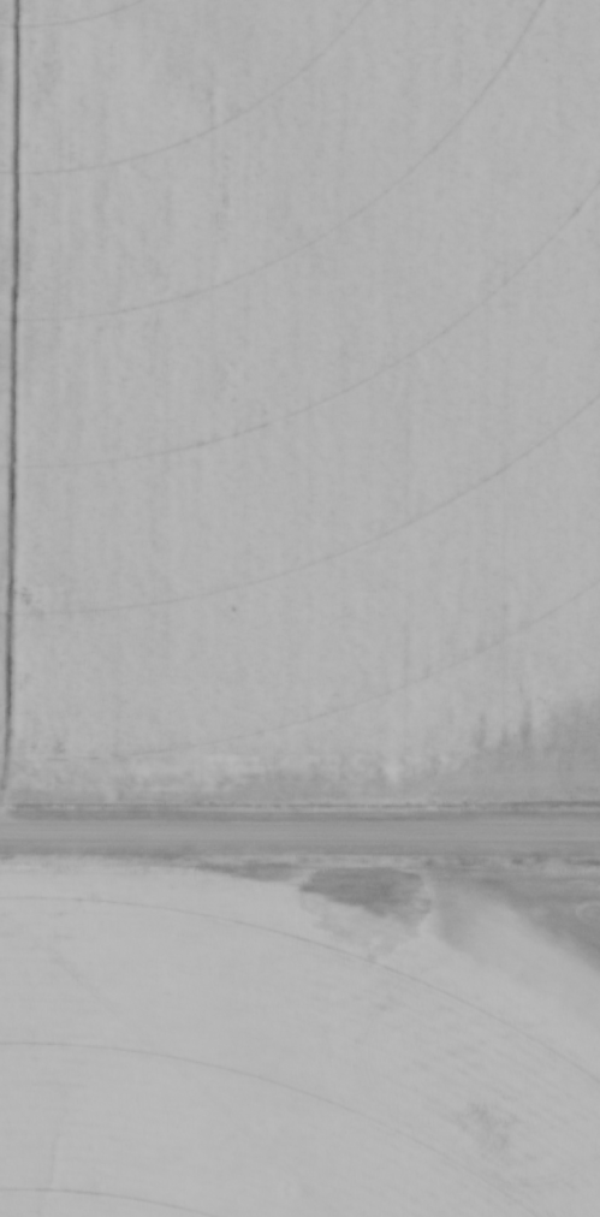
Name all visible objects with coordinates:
road: (299, 832)

